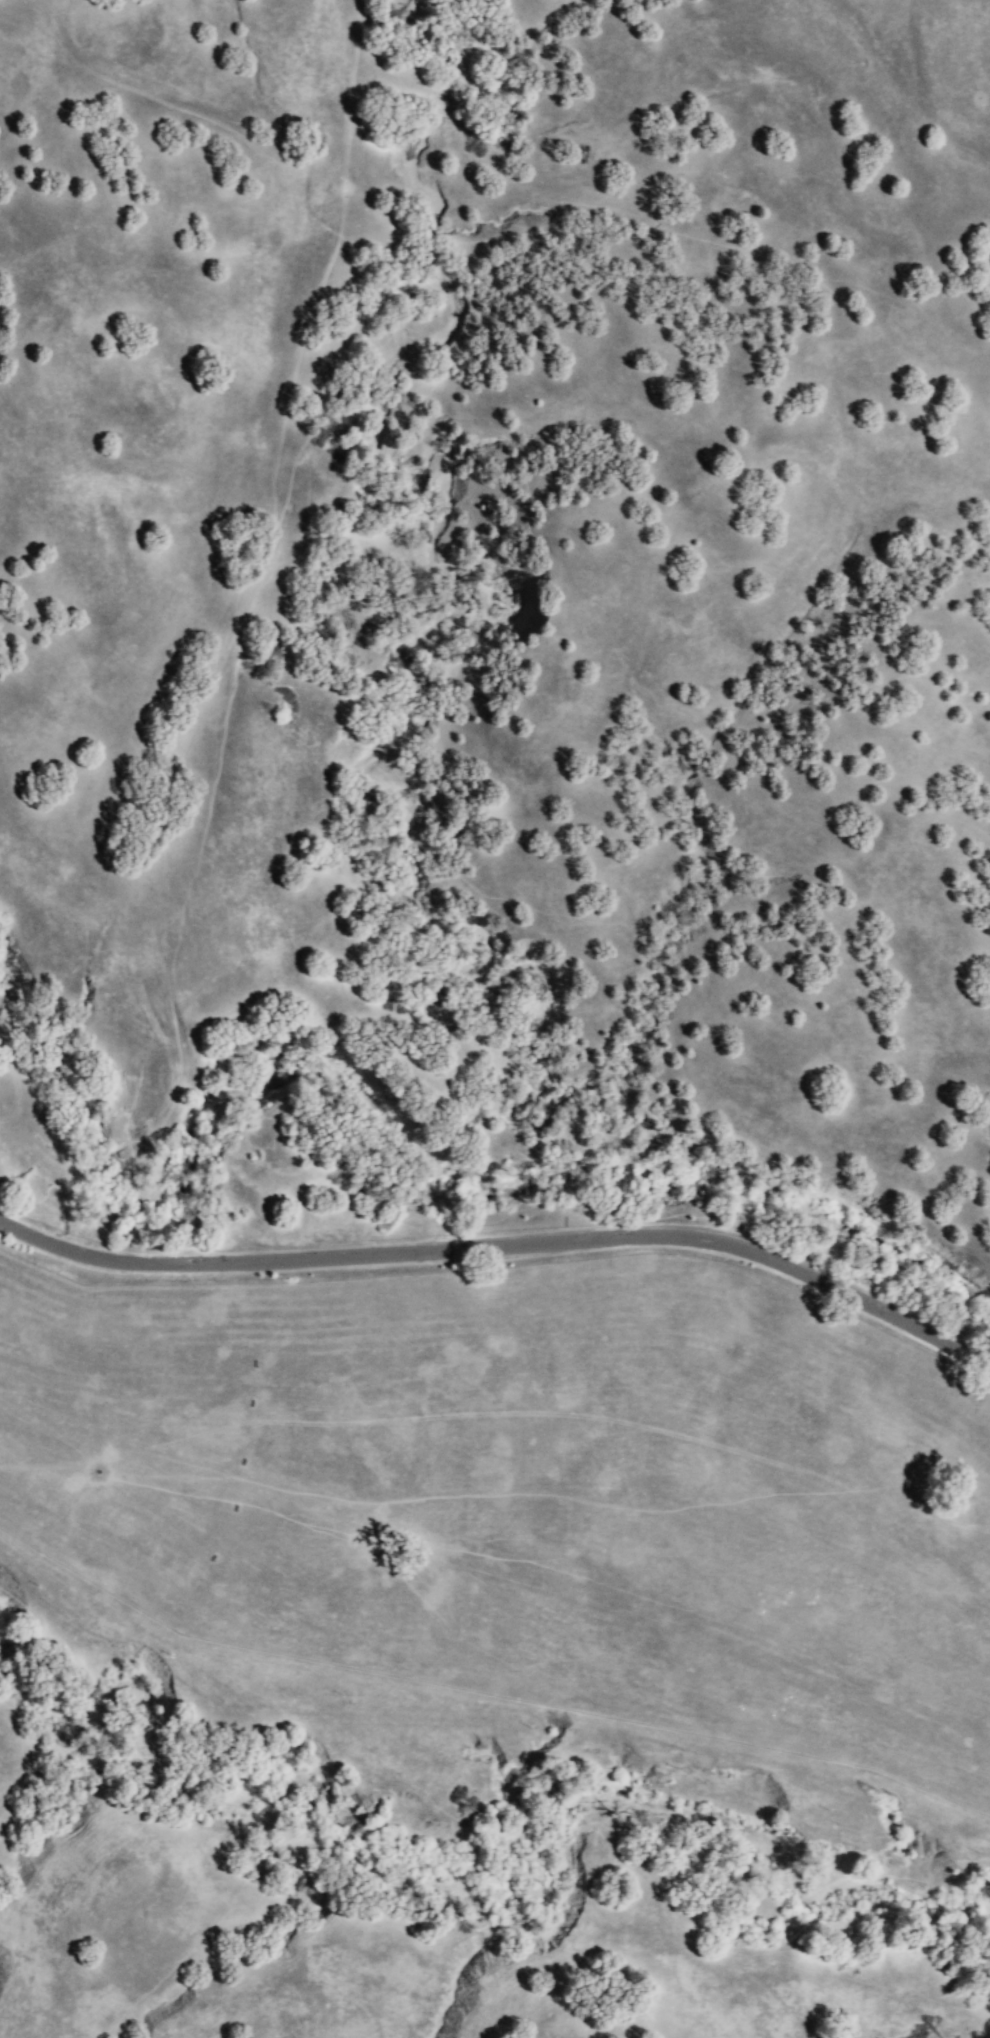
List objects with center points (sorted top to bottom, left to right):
road: (239, 635)
river: (388, 1121)
road: (505, 1248)
road: (9, 1399)
crop: (533, 1490)

